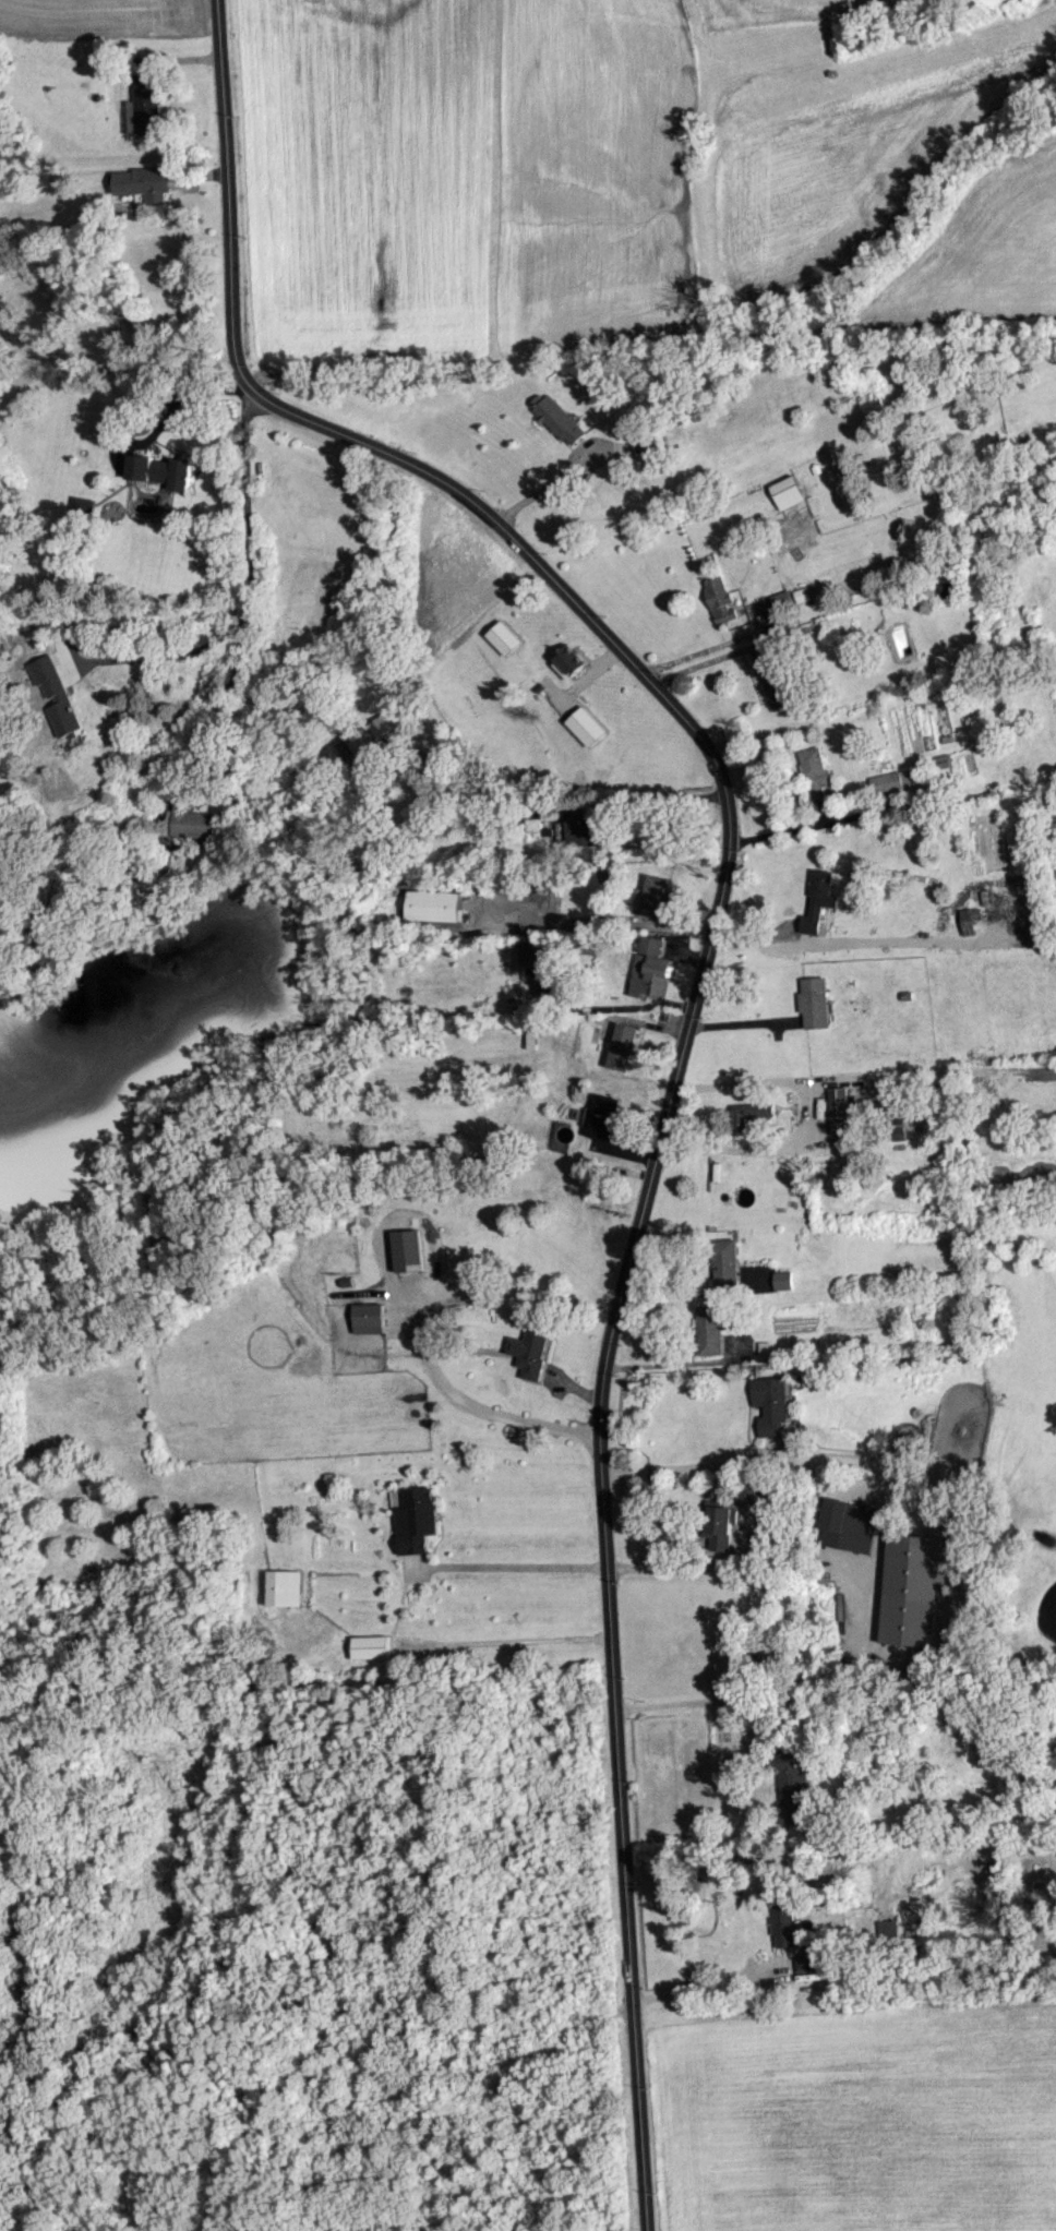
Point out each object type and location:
crop: (770, 13)
crop: (103, 17)
building: (146, 103)
crop: (844, 169)
crop: (585, 175)
crop: (364, 177)
road: (223, 181)
building: (140, 182)
crop: (983, 252)
road: (108, 368)
road: (22, 371)
building: (556, 418)
road: (149, 434)
building: (649, 449)
building: (160, 470)
building: (787, 492)
road: (245, 504)
building: (720, 599)
building: (779, 599)
building: (505, 637)
road: (703, 648)
road: (163, 652)
road: (708, 660)
building: (569, 661)
building: (775, 683)
building: (53, 695)
road: (218, 703)
building: (587, 725)
building: (364, 736)
building: (944, 766)
building: (815, 771)
building: (891, 781)
road: (722, 782)
road: (652, 797)
building: (191, 823)
building: (531, 824)
building: (580, 828)
building: (653, 896)
building: (818, 899)
building: (433, 904)
road: (600, 921)
building: (972, 921)
road: (832, 938)
building: (528, 951)
building: (650, 968)
building: (814, 1001)
building: (528, 1039)
building: (622, 1046)
building: (836, 1101)
building: (749, 1113)
building: (601, 1116)
road: (803, 1124)
building: (897, 1127)
building: (409, 1249)
building: (724, 1261)
building: (782, 1280)
road: (401, 1303)
building: (369, 1317)
building: (709, 1329)
building: (528, 1350)
road: (672, 1363)
building: (771, 1404)
road: (770, 1456)
building: (754, 1491)
building: (417, 1520)
building: (847, 1524)
building: (720, 1525)
road: (507, 1566)
road: (697, 1568)
building: (912, 1584)
building: (286, 1587)
road: (506, 1640)
building: (370, 1646)
road: (696, 1699)
building: (791, 1786)
road: (622, 1830)
building: (783, 1924)
road: (708, 1988)
crop: (859, 2120)

